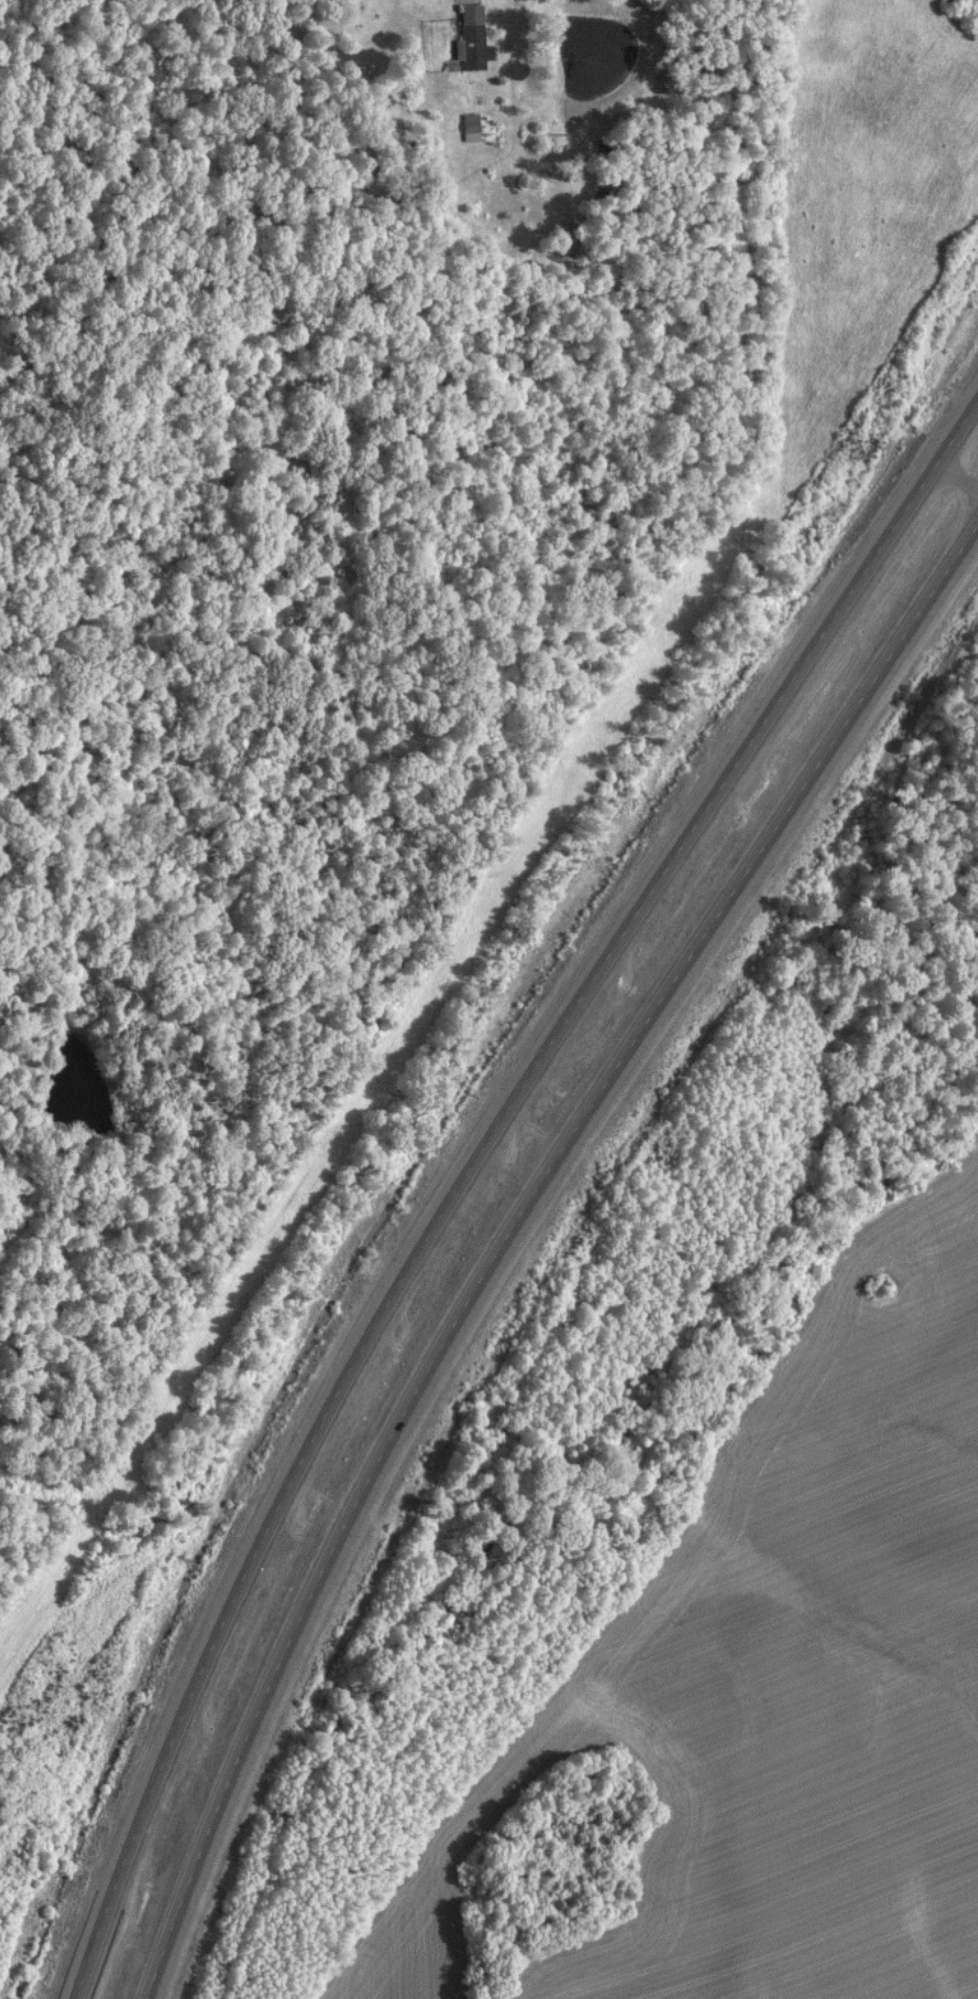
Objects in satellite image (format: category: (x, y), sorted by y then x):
building: (946, 4)
building: (469, 41)
building: (465, 130)
road: (466, 1165)
road: (506, 1228)

